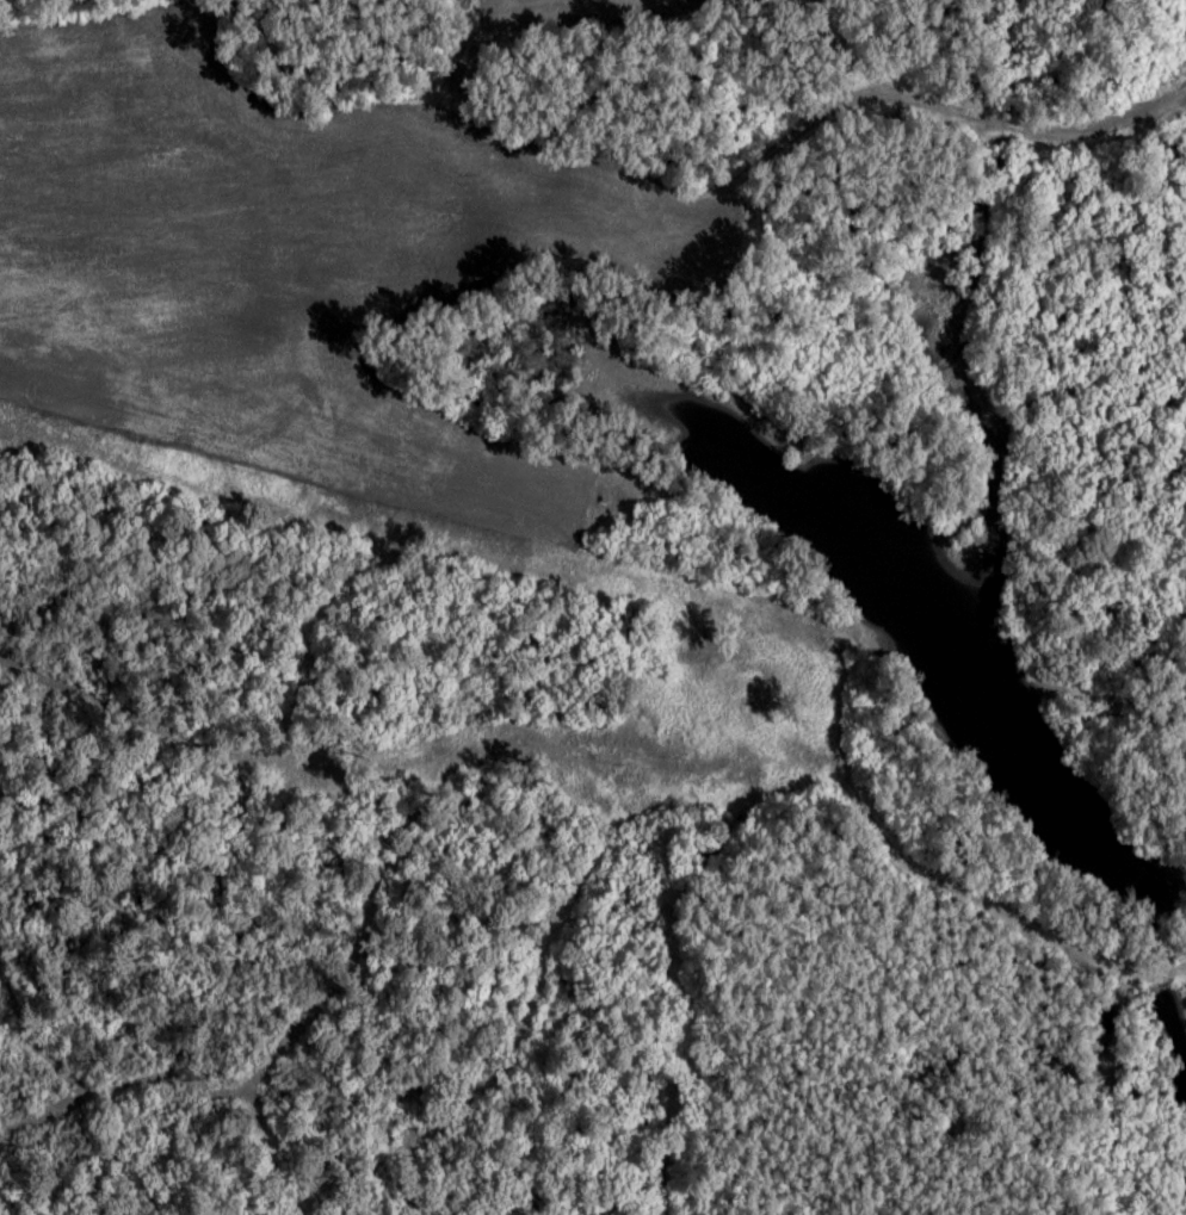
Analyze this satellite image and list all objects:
road: (986, 113)

